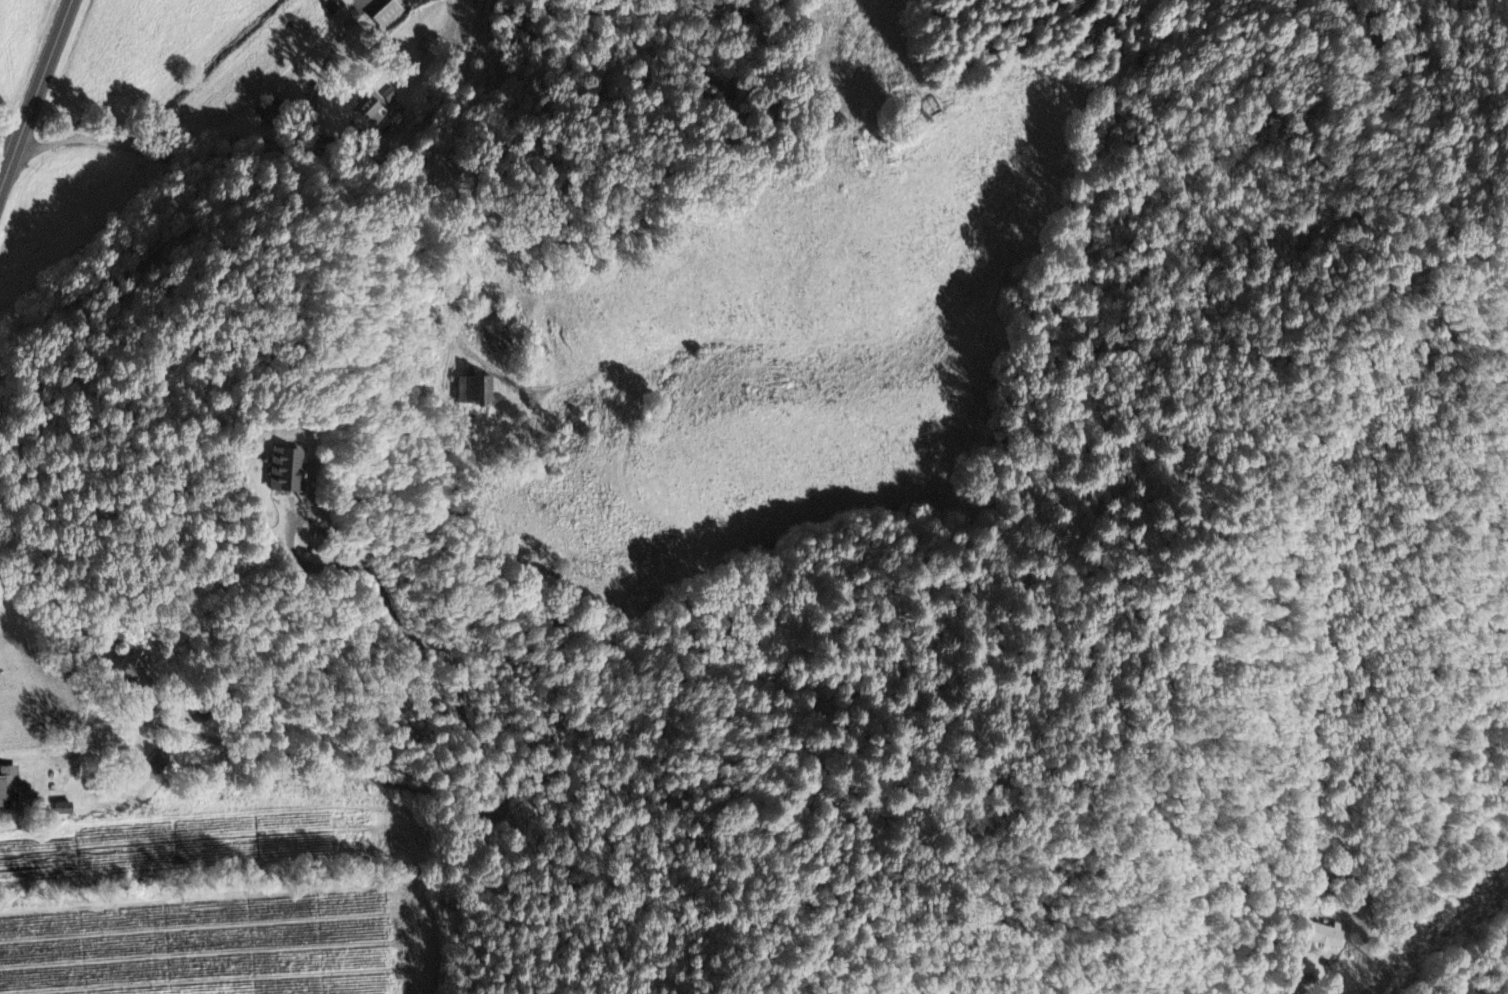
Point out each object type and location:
building: (386, 15)
road: (328, 66)
road: (36, 99)
building: (276, 111)
building: (370, 111)
road: (187, 161)
building: (499, 339)
building: (476, 387)
building: (284, 467)
building: (138, 671)
building: (159, 763)
road: (413, 786)
building: (10, 789)
building: (67, 810)
building: (1327, 933)

